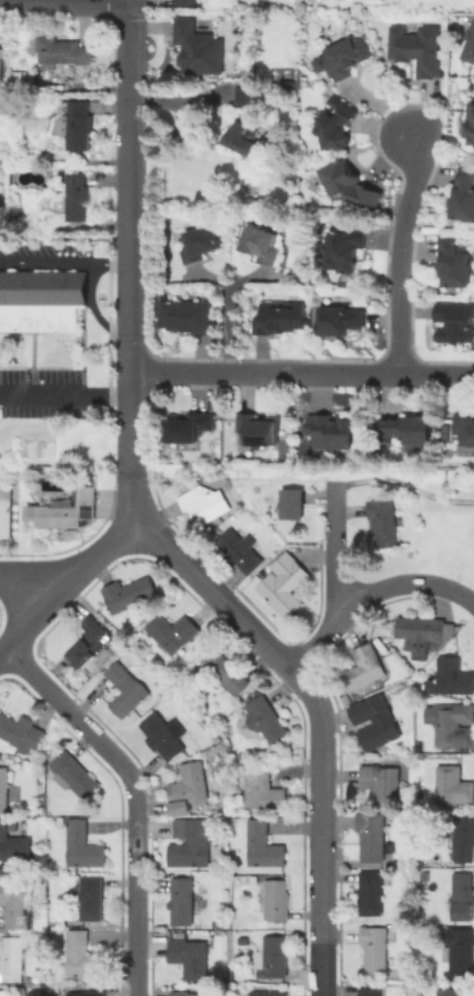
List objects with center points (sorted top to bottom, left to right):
road: (65, 1)
building: (187, 2)
building: (469, 47)
building: (197, 50)
building: (418, 52)
building: (65, 53)
building: (343, 59)
building: (0, 64)
building: (24, 77)
building: (243, 95)
road: (130, 119)
building: (338, 125)
building: (471, 126)
building: (80, 128)
building: (241, 135)
building: (351, 184)
building: (465, 197)
building: (76, 202)
road: (65, 237)
building: (200, 245)
building: (263, 246)
building: (347, 248)
road: (398, 253)
road: (65, 262)
building: (457, 265)
building: (41, 299)
road: (131, 306)
building: (186, 318)
building: (282, 320)
building: (343, 324)
building: (456, 324)
road: (227, 329)
road: (302, 374)
road: (65, 397)
building: (190, 429)
building: (410, 429)
building: (465, 432)
building: (262, 434)
building: (334, 435)
road: (131, 451)
building: (296, 504)
building: (205, 505)
building: (67, 511)
building: (6, 513)
building: (386, 521)
building: (241, 551)
road: (335, 553)
building: (262, 574)
road: (31, 576)
road: (62, 584)
building: (285, 585)
road: (371, 592)
building: (130, 594)
building: (173, 633)
building: (426, 634)
building: (92, 643)
building: (365, 669)
building: (224, 674)
building: (452, 678)
building: (127, 690)
building: (267, 719)
road: (320, 721)
building: (378, 722)
building: (455, 725)
building: (22, 733)
building: (166, 736)
building: (53, 750)
building: (200, 750)
building: (75, 775)
building: (382, 785)
building: (455, 787)
building: (190, 789)
building: (264, 790)
building: (5, 791)
road: (132, 795)
building: (221, 826)
building: (374, 837)
building: (464, 839)
building: (194, 843)
building: (14, 845)
building: (266, 846)
building: (84, 848)
building: (400, 865)
building: (428, 876)
building: (255, 879)
building: (203, 891)
building: (374, 894)
building: (465, 897)
building: (93, 898)
building: (184, 899)
building: (278, 900)
building: (201, 903)
building: (15, 908)
building: (219, 922)
building: (244, 942)
building: (377, 950)
building: (461, 952)
building: (84, 957)
building: (190, 958)
building: (274, 958)
building: (13, 959)
building: (406, 976)
building: (44, 978)
building: (34, 981)
building: (371, 990)
building: (451, 992)
building: (4, 994)
building: (88, 994)
building: (185, 994)
building: (270, 994)

